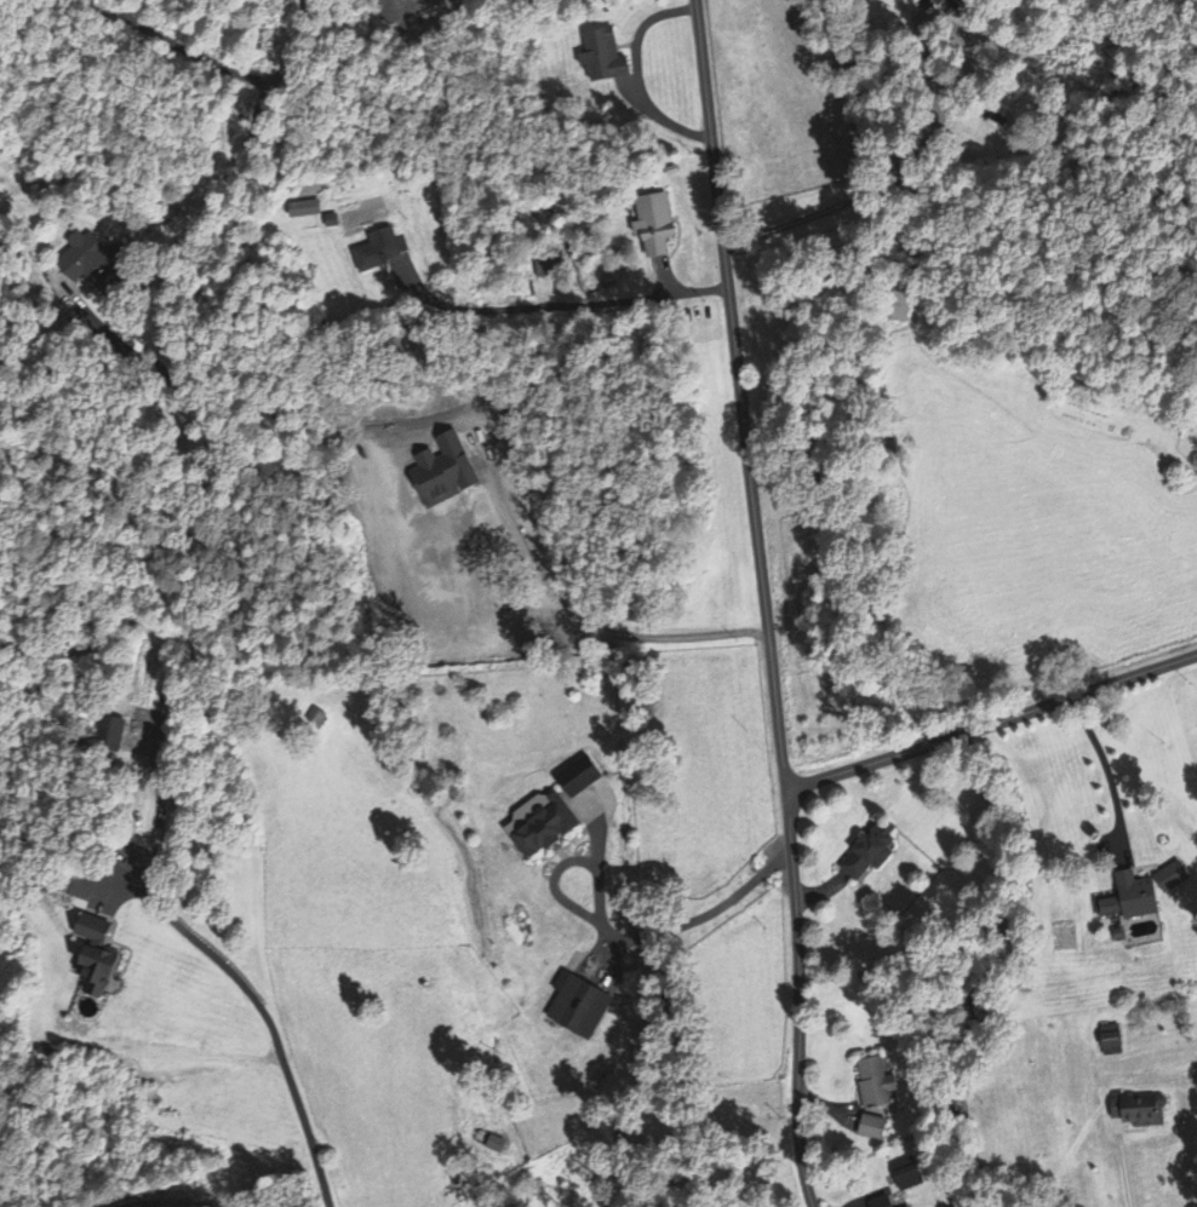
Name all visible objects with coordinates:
building: (911, 0)
building: (945, 6)
road: (293, 46)
building: (601, 59)
building: (303, 211)
building: (652, 228)
building: (378, 252)
building: (76, 259)
road: (732, 316)
building: (472, 591)
road: (775, 709)
building: (314, 719)
road: (992, 724)
building: (108, 736)
building: (577, 778)
building: (539, 827)
building: (865, 856)
building: (1129, 899)
building: (93, 955)
road: (798, 998)
building: (577, 1007)
building: (1109, 1041)
building: (874, 1085)
building: (1134, 1111)
building: (871, 1130)
building: (905, 1177)
road: (165, 1201)
building: (880, 1202)

